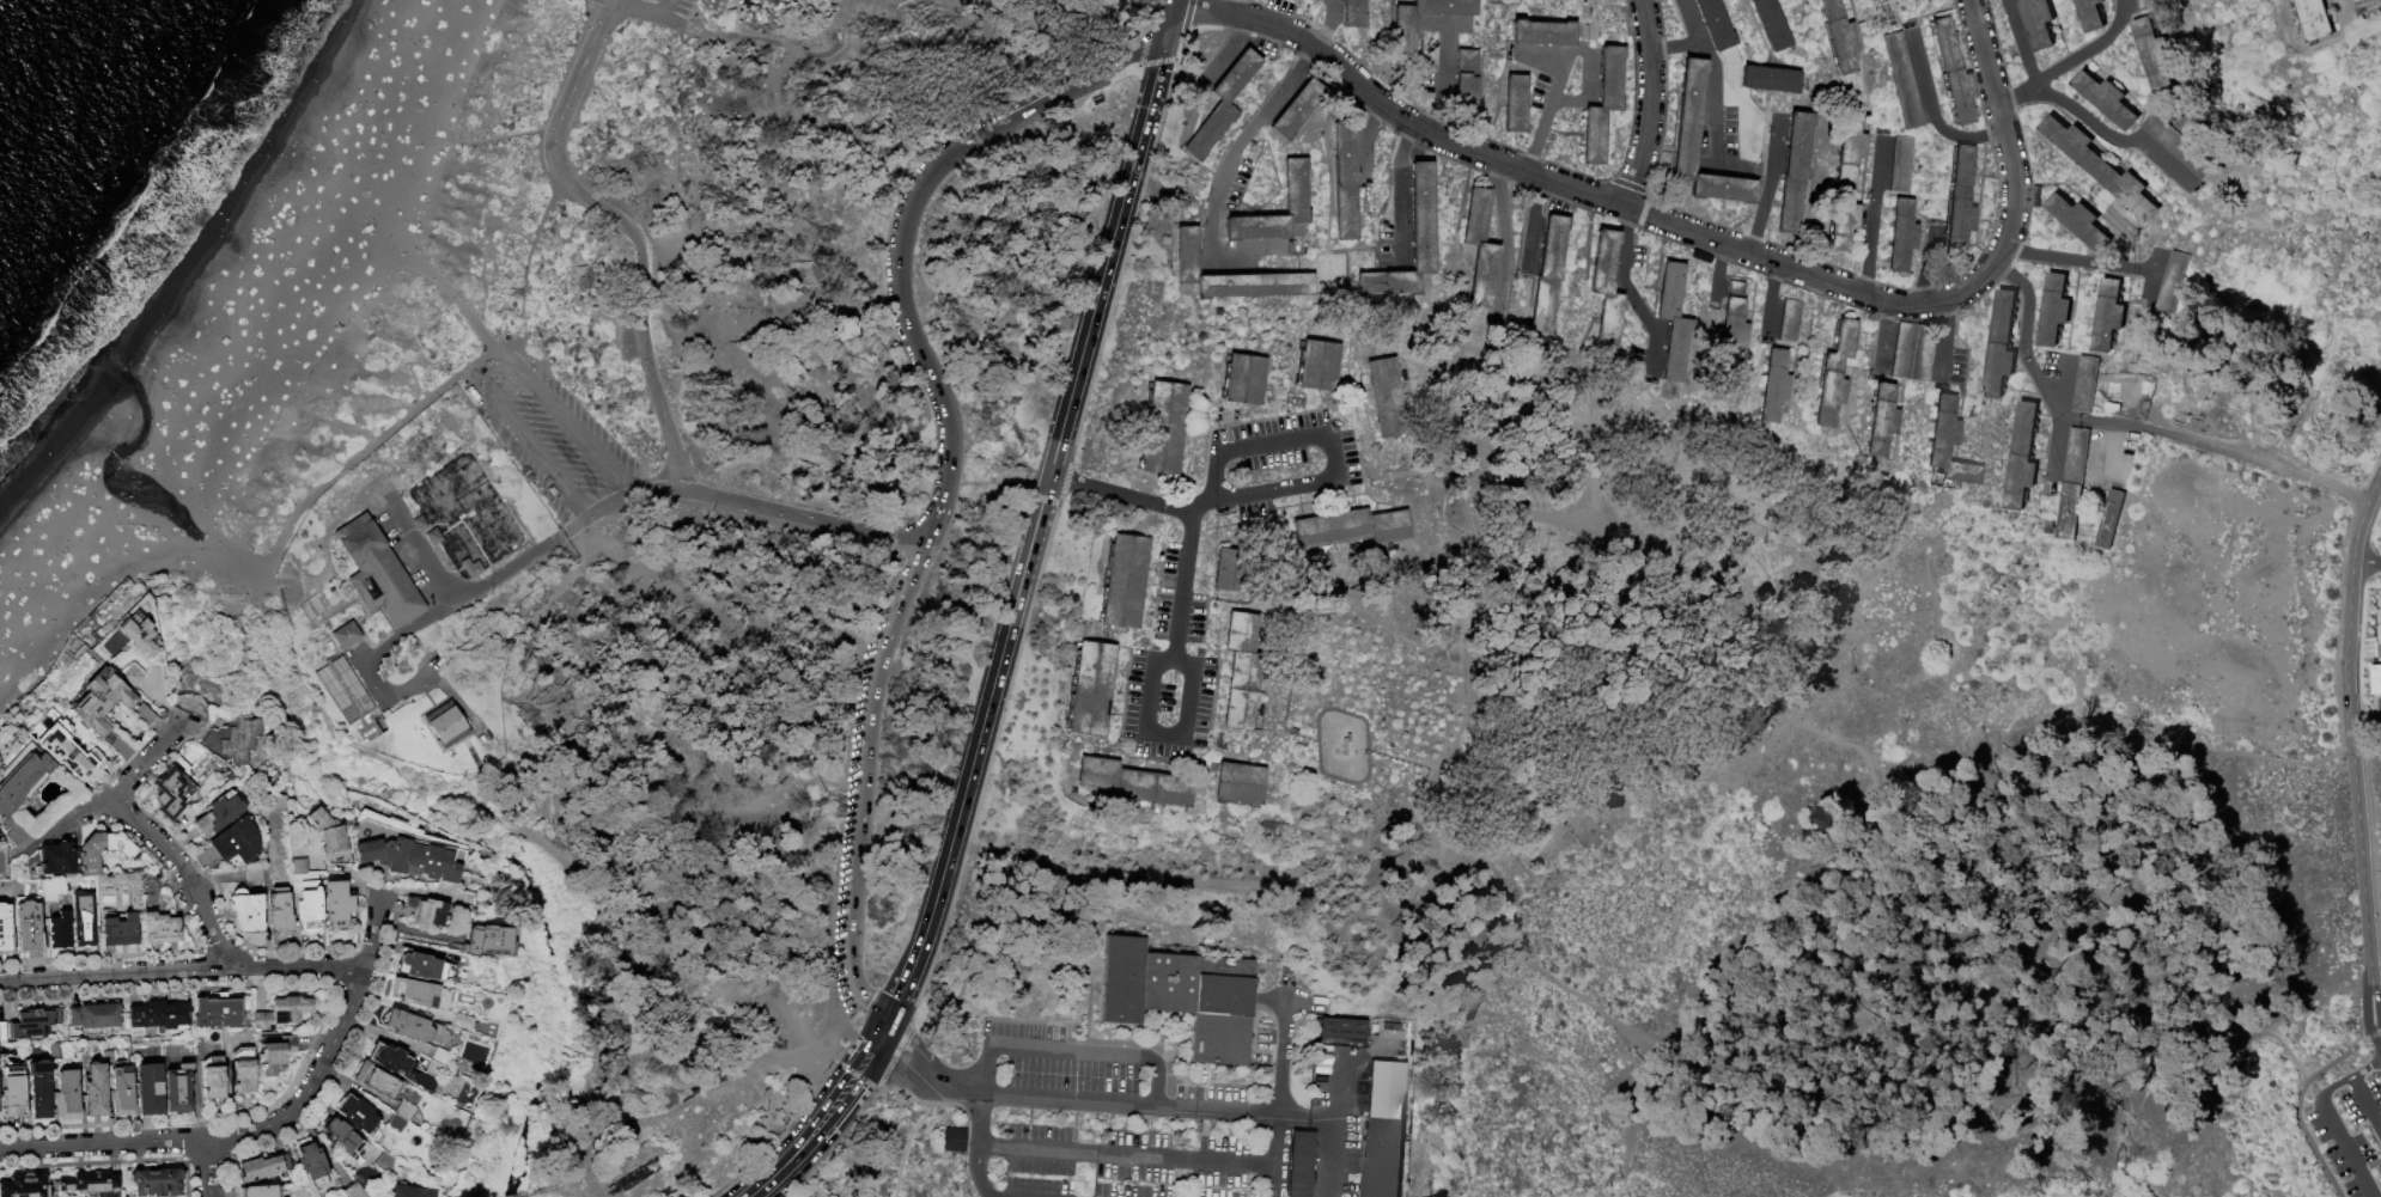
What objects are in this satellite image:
road: (1333, 0)
building: (2017, 0)
road: (1173, 2)
building: (714, 5)
building: (2146, 5)
building: (2367, 5)
road: (629, 7)
road: (665, 8)
road: (1241, 8)
parking lot: (656, 10)
road: (608, 12)
building: (1354, 14)
building: (2091, 14)
road: (736, 18)
building: (2315, 20)
road: (1459, 23)
building: (1717, 24)
building: (1773, 24)
building: (2039, 24)
road: (1168, 25)
building: (1543, 32)
road: (1448, 33)
building: (1405, 35)
building: (1840, 37)
road: (774, 42)
road: (2020, 42)
road: (1675, 48)
road: (1226, 50)
road: (1709, 53)
road: (1588, 55)
building: (2154, 55)
road: (2070, 62)
road: (1561, 63)
road: (973, 72)
building: (1954, 72)
building: (1468, 78)
road: (1290, 79)
building: (1772, 79)
road: (1086, 81)
building: (1906, 81)
road: (1557, 87)
road: (1442, 92)
building: (2107, 100)
building: (1516, 103)
road: (1552, 104)
road: (1651, 104)
building: (1223, 105)
building: (1604, 105)
road: (726, 108)
building: (1298, 108)
road: (1931, 110)
road: (1436, 123)
road: (625, 132)
road: (2002, 133)
road: (1712, 135)
road: (499, 136)
road: (1363, 136)
road: (2113, 139)
road: (1536, 141)
building: (2178, 147)
building: (1686, 149)
building: (2079, 151)
building: (1904, 163)
road: (1397, 169)
building: (1796, 172)
road: (1222, 175)
road: (558, 181)
building: (1346, 181)
building: (1847, 182)
road: (1770, 184)
road: (1576, 188)
building: (2135, 196)
building: (2036, 199)
building: (1297, 201)
building: (1960, 201)
road: (1872, 216)
building: (1424, 218)
building: (2078, 221)
road: (1625, 222)
road: (1531, 224)
building: (1904, 236)
road: (637, 239)
road: (1400, 240)
road: (1506, 246)
building: (1481, 249)
road: (1621, 257)
road: (1219, 261)
road: (2079, 263)
road: (1930, 264)
building: (1549, 274)
building: (1232, 275)
building: (2169, 283)
road: (1716, 285)
building: (1607, 289)
road: (452, 293)
road: (1771, 299)
road: (1640, 310)
building: (2054, 311)
road: (1947, 312)
road: (908, 316)
building: (2109, 316)
building: (1792, 320)
building: (1674, 322)
building: (1734, 329)
road: (1884, 338)
road: (498, 344)
building: (2001, 347)
road: (1945, 349)
building: (1914, 352)
road: (1652, 356)
road: (497, 361)
building: (1319, 365)
road: (516, 371)
road: (2063, 371)
building: (1835, 373)
building: (1244, 379)
road: (2039, 379)
building: (1776, 385)
building: (2085, 385)
road: (494, 387)
building: (1388, 398)
road: (2059, 401)
building: (1882, 420)
building: (1164, 427)
road: (580, 434)
road: (1328, 442)
building: (1949, 444)
parking lot: (560, 445)
road: (2056, 447)
building: (2023, 458)
road: (543, 459)
parking lot: (1277, 462)
road: (2260, 464)
building: (2072, 484)
road: (2374, 489)
road: (1129, 496)
road: (741, 503)
building: (2111, 520)
building: (421, 523)
building: (1352, 527)
road: (1033, 536)
building: (436, 537)
road: (415, 538)
road: (2367, 561)
building: (474, 568)
building: (1231, 569)
building: (379, 573)
road: (497, 575)
park: (1352, 579)
building: (1125, 581)
road: (1182, 582)
parking lot: (1176, 601)
road: (2350, 609)
road: (236, 613)
building: (348, 635)
building: (141, 636)
road: (371, 656)
road: (534, 656)
building: (1243, 670)
building: (132, 676)
building: (2375, 680)
building: (1092, 688)
building: (347, 689)
parking lot: (1167, 703)
road: (194, 706)
building: (104, 708)
road: (2380, 715)
building: (145, 716)
road: (2365, 716)
building: (446, 723)
road: (1797, 725)
road: (1162, 738)
building: (235, 739)
building: (72, 753)
road: (148, 758)
building: (22, 780)
building: (1135, 783)
road: (865, 784)
building: (1240, 784)
building: (170, 793)
road: (767, 800)
building: (278, 802)
building: (219, 814)
road: (74, 816)
parking lot: (857, 816)
road: (517, 832)
building: (329, 835)
building: (238, 841)
building: (406, 848)
building: (103, 850)
building: (56, 859)
road: (1022, 865)
road: (184, 873)
road: (2364, 884)
building: (306, 897)
building: (336, 905)
building: (246, 911)
building: (280, 911)
building: (424, 911)
building: (84, 918)
building: (28, 924)
building: (160, 927)
building: (118, 928)
road: (1807, 929)
building: (5, 930)
building: (59, 930)
road: (1461, 934)
building: (491, 940)
building: (425, 966)
road: (1090, 967)
road: (183, 971)
building: (415, 993)
building: (1182, 996)
building: (218, 1010)
building: (284, 1010)
building: (158, 1015)
building: (96, 1016)
building: (453, 1019)
building: (34, 1021)
building: (415, 1026)
building: (1393, 1027)
building: (1376, 1028)
building: (1344, 1030)
building: (2, 1031)
road: (878, 1037)
road: (915, 1044)
road: (330, 1046)
building: (55, 1050)
road: (607, 1051)
road: (1074, 1052)
building: (276, 1054)
building: (442, 1056)
building: (404, 1065)
road: (992, 1069)
building: (244, 1070)
road: (897, 1070)
building: (212, 1076)
building: (376, 1080)
road: (1159, 1080)
road: (2345, 1080)
building: (120, 1085)
road: (1284, 1085)
building: (41, 1087)
building: (178, 1087)
road: (1338, 1087)
building: (13, 1088)
building: (150, 1088)
road: (957, 1088)
building: (95, 1091)
building: (1394, 1091)
building: (67, 1093)
road: (2009, 1095)
road: (712, 1097)
road: (2298, 1101)
road: (1135, 1104)
road: (2365, 1105)
building: (404, 1110)
building: (360, 1116)
road: (1309, 1117)
road: (986, 1118)
parking lot: (1118, 1122)
building: (396, 1123)
road: (815, 1130)
parking lot: (2350, 1131)
road: (911, 1136)
building: (341, 1137)
building: (952, 1138)
road: (103, 1144)
road: (2349, 1152)
road: (1132, 1154)
road: (1334, 1158)
building: (1383, 1158)
building: (310, 1162)
building: (384, 1162)
building: (1302, 1165)
road: (208, 1168)
building: (264, 1168)
road: (982, 1172)
building: (157, 1183)
road: (1625, 1183)
building: (93, 1184)
building: (25, 1186)
building: (260, 1191)
building: (354, 1191)
building: (410, 1192)

